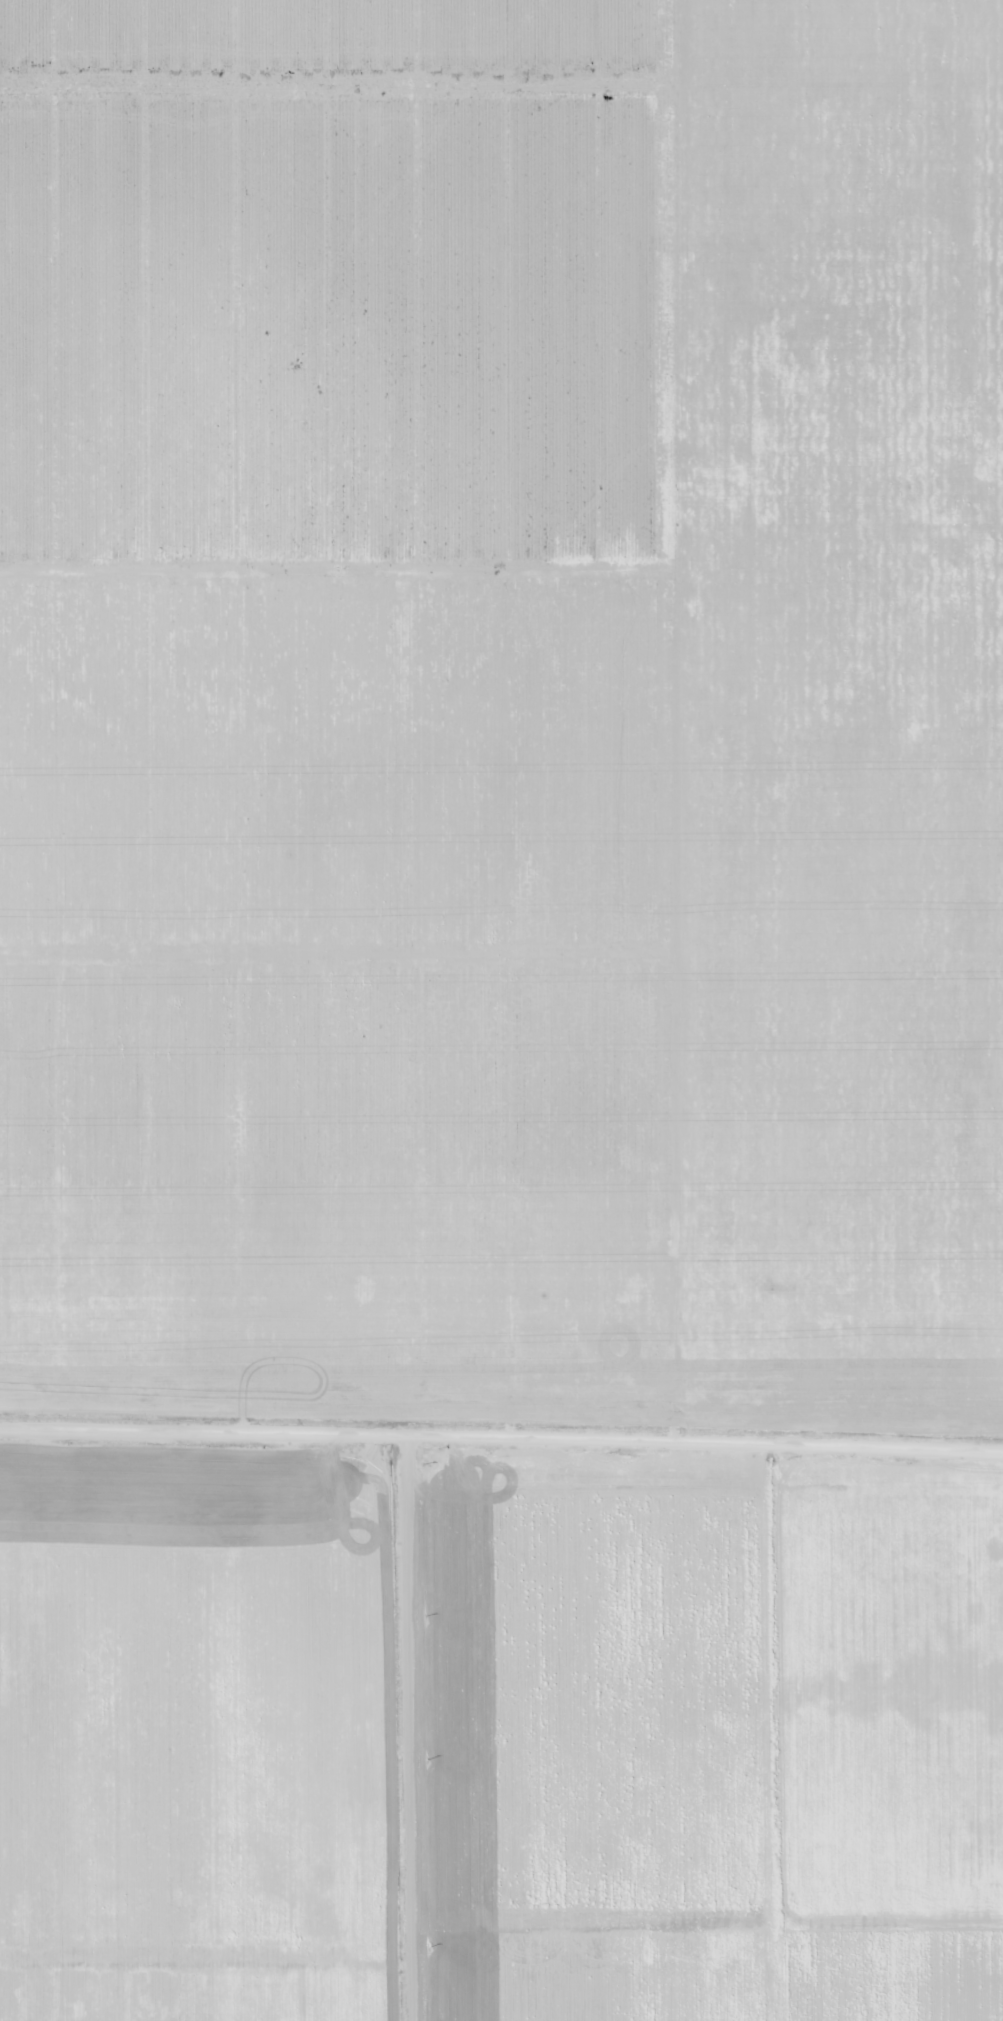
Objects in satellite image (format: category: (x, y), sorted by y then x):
road: (501, 1437)

